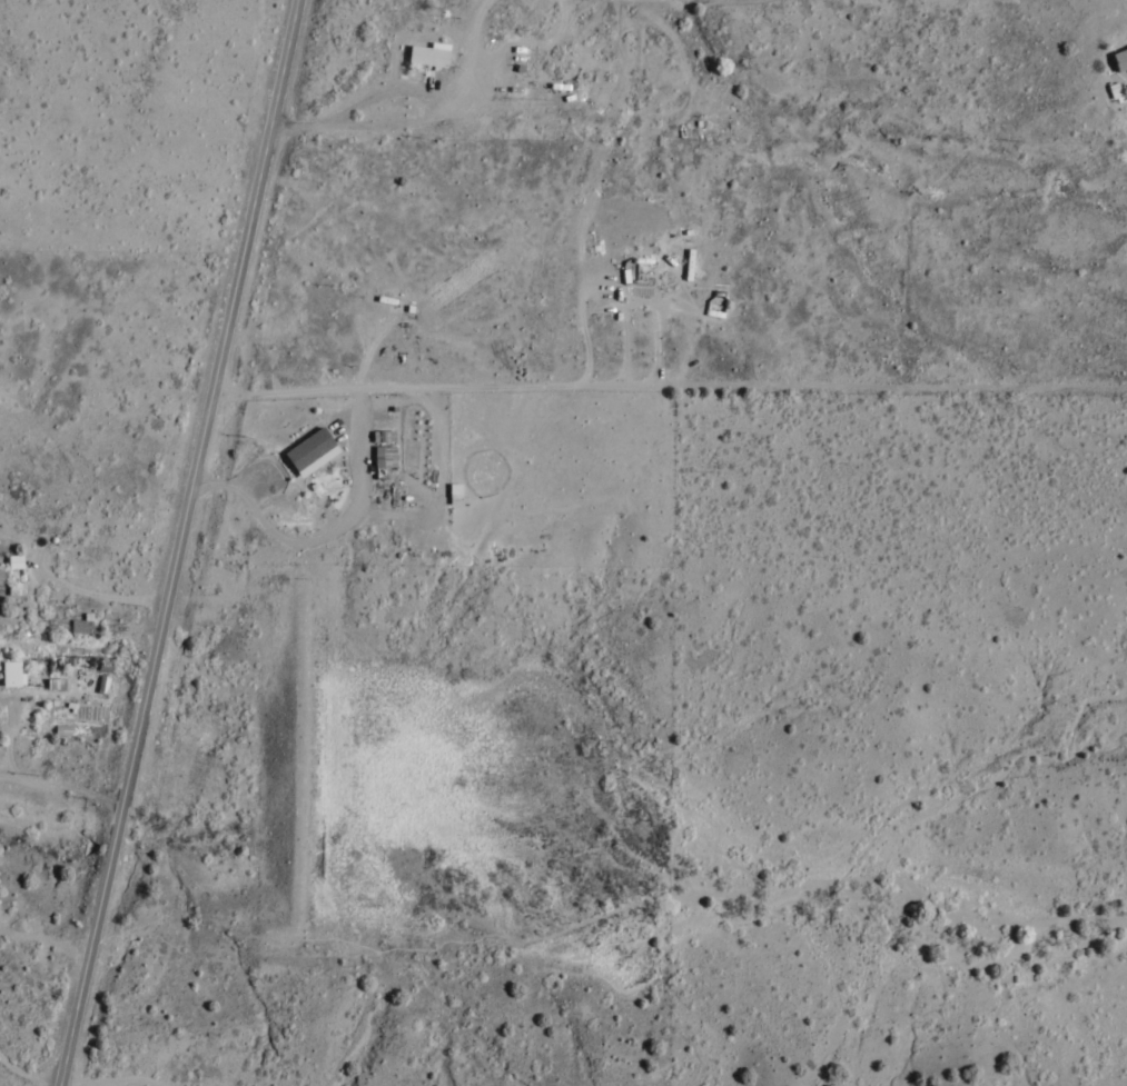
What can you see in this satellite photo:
building: (427, 54)
building: (1119, 59)
building: (1113, 91)
road: (379, 98)
building: (310, 452)
building: (383, 457)
road: (176, 541)
building: (13, 562)
building: (0, 579)
building: (82, 625)
building: (11, 675)
building: (55, 685)
road: (62, 794)

